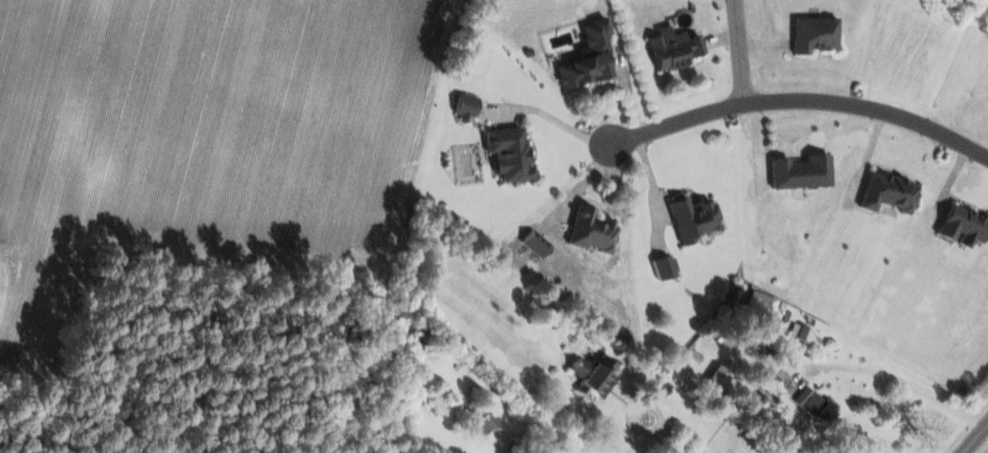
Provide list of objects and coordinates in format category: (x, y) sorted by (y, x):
building: (814, 36)
building: (672, 50)
road: (738, 51)
building: (586, 59)
road: (796, 101)
building: (463, 110)
building: (507, 155)
building: (799, 174)
building: (887, 194)
building: (692, 220)
building: (961, 226)
building: (590, 233)
building: (535, 245)
building: (663, 269)
building: (757, 308)
building: (803, 337)
building: (593, 376)
road: (897, 383)
building: (811, 406)
building: (484, 425)
road: (664, 435)
road: (976, 440)

